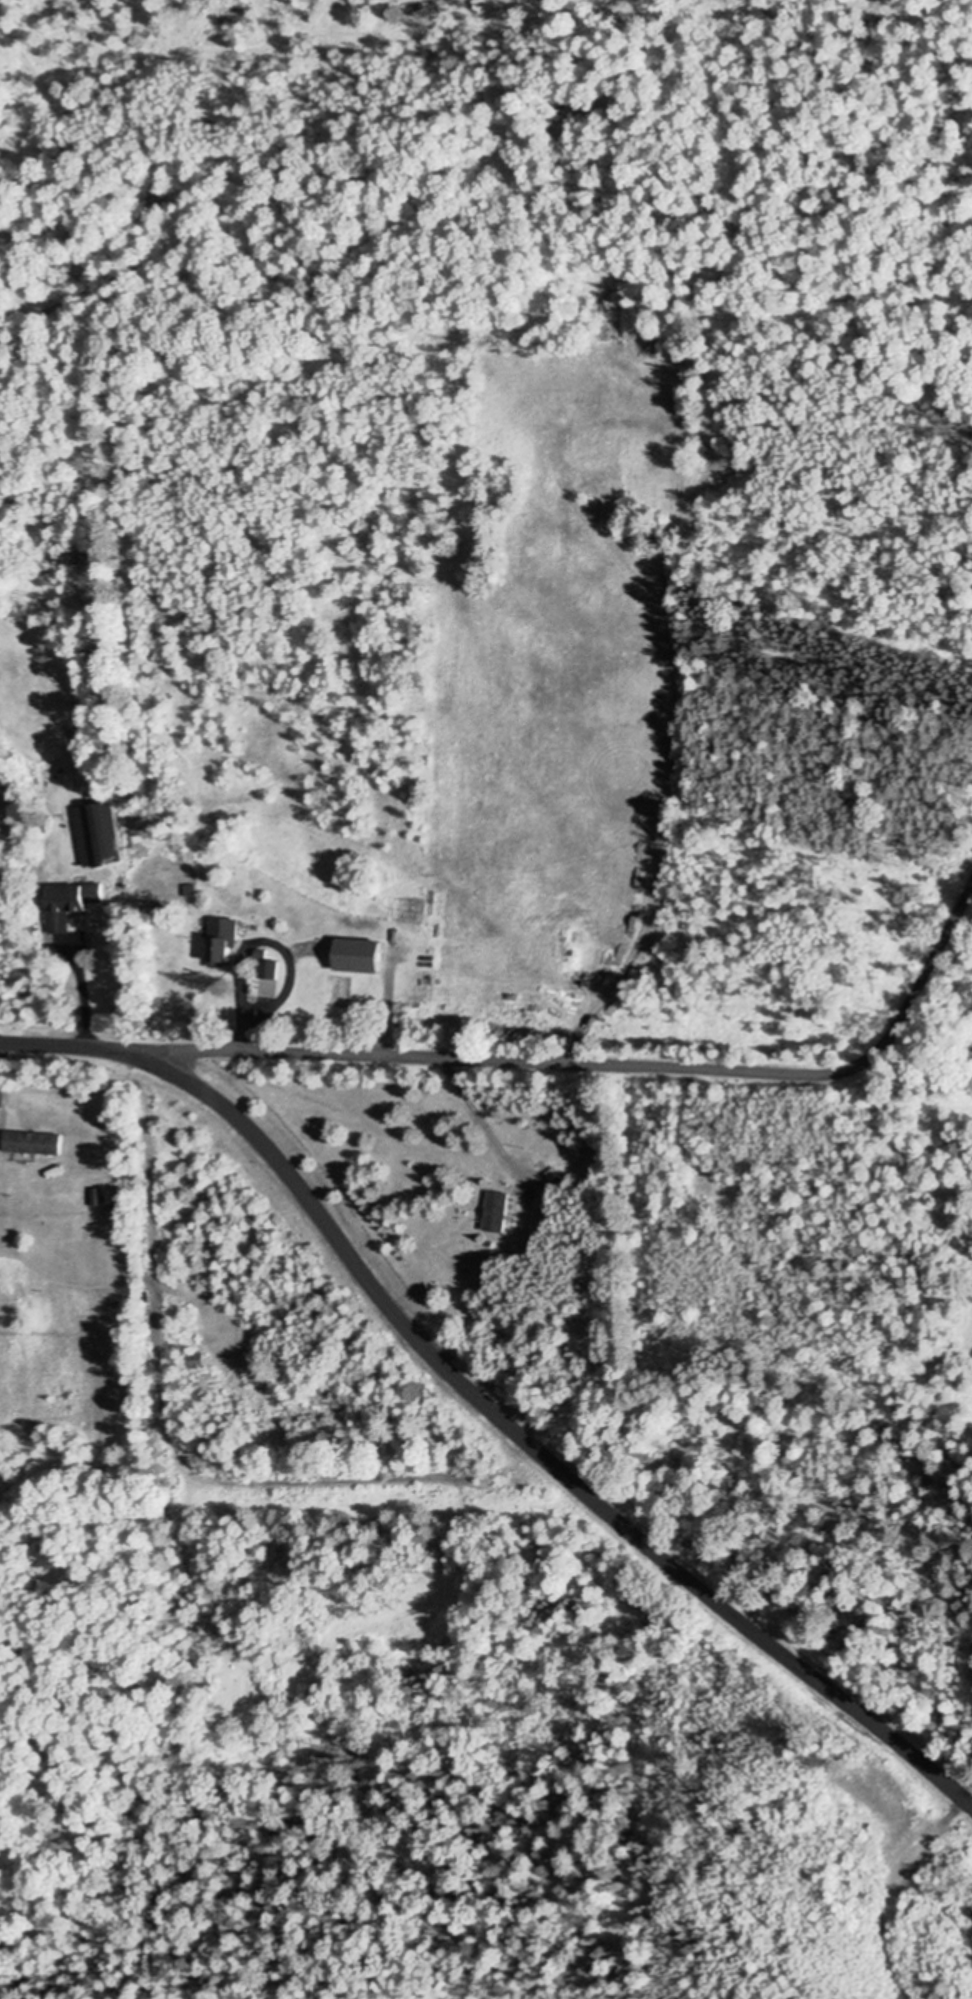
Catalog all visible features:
road: (257, 937)
road: (83, 995)
road: (383, 1010)
road: (609, 1063)
road: (470, 1107)
road: (161, 1391)
road: (483, 1401)
road: (926, 1833)

